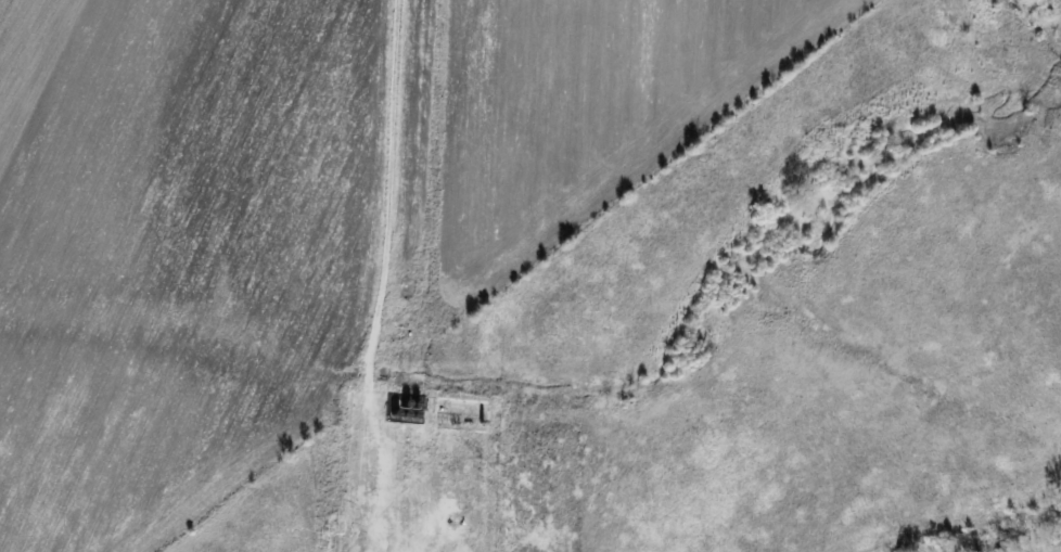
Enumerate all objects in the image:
road: (405, 306)

